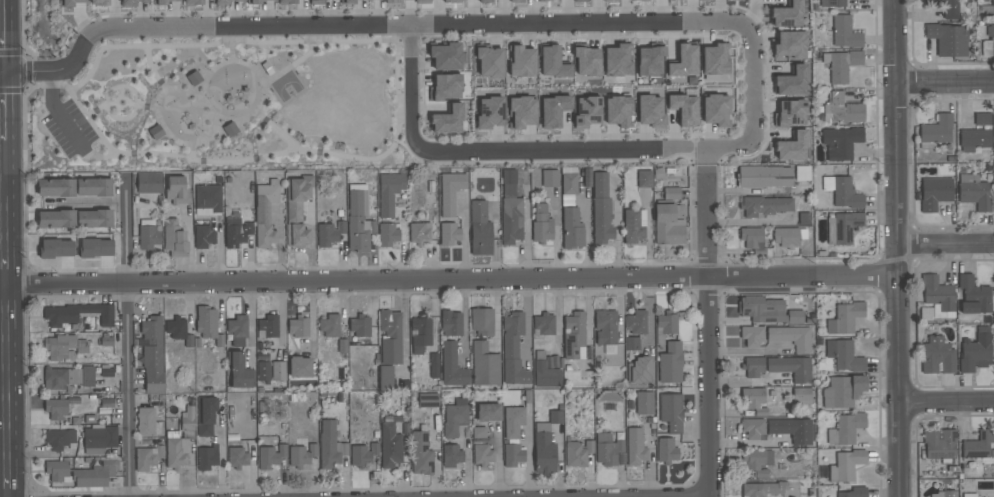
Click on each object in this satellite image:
building: (318, 0)
building: (365, 0)
building: (544, 0)
building: (601, 0)
building: (609, 0)
building: (644, 0)
building: (703, 0)
building: (260, 1)
building: (390, 1)
building: (422, 1)
building: (449, 1)
building: (485, 1)
building: (517, 1)
building: (579, 1)
building: (71, 2)
building: (133, 2)
building: (163, 2)
building: (193, 2)
building: (225, 2)
building: (287, 2)
building: (349, 2)
building: (99, 3)
building: (832, 3)
building: (945, 8)
building: (992, 9)
building: (787, 15)
road: (677, 19)
building: (845, 32)
road: (2, 36)
building: (947, 39)
building: (988, 43)
building: (790, 45)
building: (447, 56)
building: (650, 59)
building: (587, 61)
building: (617, 61)
building: (684, 61)
road: (241, 62)
building: (489, 62)
building: (522, 62)
building: (715, 62)
building: (553, 63)
building: (841, 65)
building: (266, 68)
road: (27, 71)
road: (1, 72)
building: (193, 79)
building: (791, 82)
road: (943, 82)
road: (202, 84)
road: (121, 87)
park: (286, 87)
building: (445, 87)
road: (263, 90)
road: (121, 92)
park: (225, 106)
road: (398, 106)
road: (148, 107)
building: (684, 107)
road: (120, 108)
building: (553, 110)
building: (716, 110)
building: (842, 110)
building: (618, 111)
building: (649, 111)
road: (56, 112)
building: (522, 112)
building: (587, 112)
building: (490, 113)
building: (790, 113)
road: (248, 117)
road: (121, 118)
building: (448, 119)
building: (982, 119)
road: (214, 129)
building: (229, 129)
building: (935, 131)
building: (155, 132)
road: (172, 139)
building: (974, 140)
building: (841, 142)
building: (792, 147)
road: (2, 155)
building: (763, 177)
road: (5, 178)
building: (550, 178)
building: (643, 179)
building: (148, 183)
building: (569, 184)
building: (93, 187)
building: (55, 188)
building: (176, 191)
building: (389, 192)
building: (450, 192)
building: (842, 192)
building: (973, 192)
building: (671, 193)
building: (934, 193)
building: (207, 199)
road: (92, 204)
building: (769, 207)
building: (297, 209)
building: (601, 209)
building: (510, 211)
road: (706, 212)
building: (265, 213)
road: (3, 216)
building: (56, 219)
building: (94, 219)
building: (358, 219)
building: (669, 224)
building: (541, 225)
building: (842, 227)
building: (572, 228)
building: (634, 228)
building: (479, 229)
building: (236, 232)
building: (329, 234)
building: (387, 234)
building: (418, 234)
building: (449, 234)
building: (148, 235)
building: (203, 236)
building: (788, 237)
building: (752, 238)
building: (175, 239)
road: (586, 240)
road: (944, 247)
building: (55, 248)
building: (95, 248)
road: (894, 248)
road: (450, 280)
building: (938, 294)
building: (974, 296)
building: (762, 309)
building: (78, 314)
building: (795, 316)
building: (844, 318)
road: (528, 320)
building: (482, 322)
building: (450, 323)
building: (636, 323)
building: (543, 324)
building: (208, 325)
building: (329, 326)
building: (360, 326)
building: (665, 326)
building: (267, 327)
building: (298, 327)
building: (605, 327)
building: (237, 330)
building: (179, 331)
building: (420, 333)
road: (6, 334)
road: (125, 336)
building: (574, 336)
building: (752, 336)
building: (390, 337)
building: (791, 338)
building: (632, 343)
building: (60, 347)
building: (513, 350)
building: (976, 351)
building: (151, 354)
building: (844, 355)
building: (937, 356)
building: (670, 363)
building: (484, 365)
building: (434, 366)
building: (452, 366)
building: (753, 366)
building: (299, 367)
building: (791, 368)
building: (239, 371)
building: (263, 371)
building: (278, 371)
building: (641, 371)
building: (545, 373)
building: (68, 377)
building: (386, 378)
road: (3, 382)
road: (708, 386)
building: (842, 391)
building: (801, 396)
road: (945, 397)
building: (754, 400)
building: (644, 403)
building: (55, 409)
building: (671, 412)
building: (488, 413)
building: (206, 416)
building: (555, 417)
building: (455, 418)
building: (187, 419)
building: (146, 422)
building: (513, 422)
building: (753, 428)
building: (845, 429)
building: (792, 430)
building: (479, 432)
road: (7, 439)
building: (59, 439)
building: (99, 439)
building: (940, 444)
road: (746, 445)
building: (978, 445)
building: (330, 446)
building: (390, 446)
building: (635, 447)
building: (607, 449)
building: (175, 450)
building: (543, 450)
building: (666, 451)
building: (577, 453)
road: (222, 454)
building: (363, 454)
building: (421, 454)
building: (482, 454)
building: (301, 455)
building: (513, 455)
building: (146, 456)
building: (270, 456)
building: (451, 456)
building: (206, 457)
building: (236, 458)
building: (756, 461)
building: (846, 465)
building: (57, 472)
building: (94, 475)
building: (762, 489)
building: (854, 492)
building: (944, 494)
building: (969, 495)
road: (4, 496)

